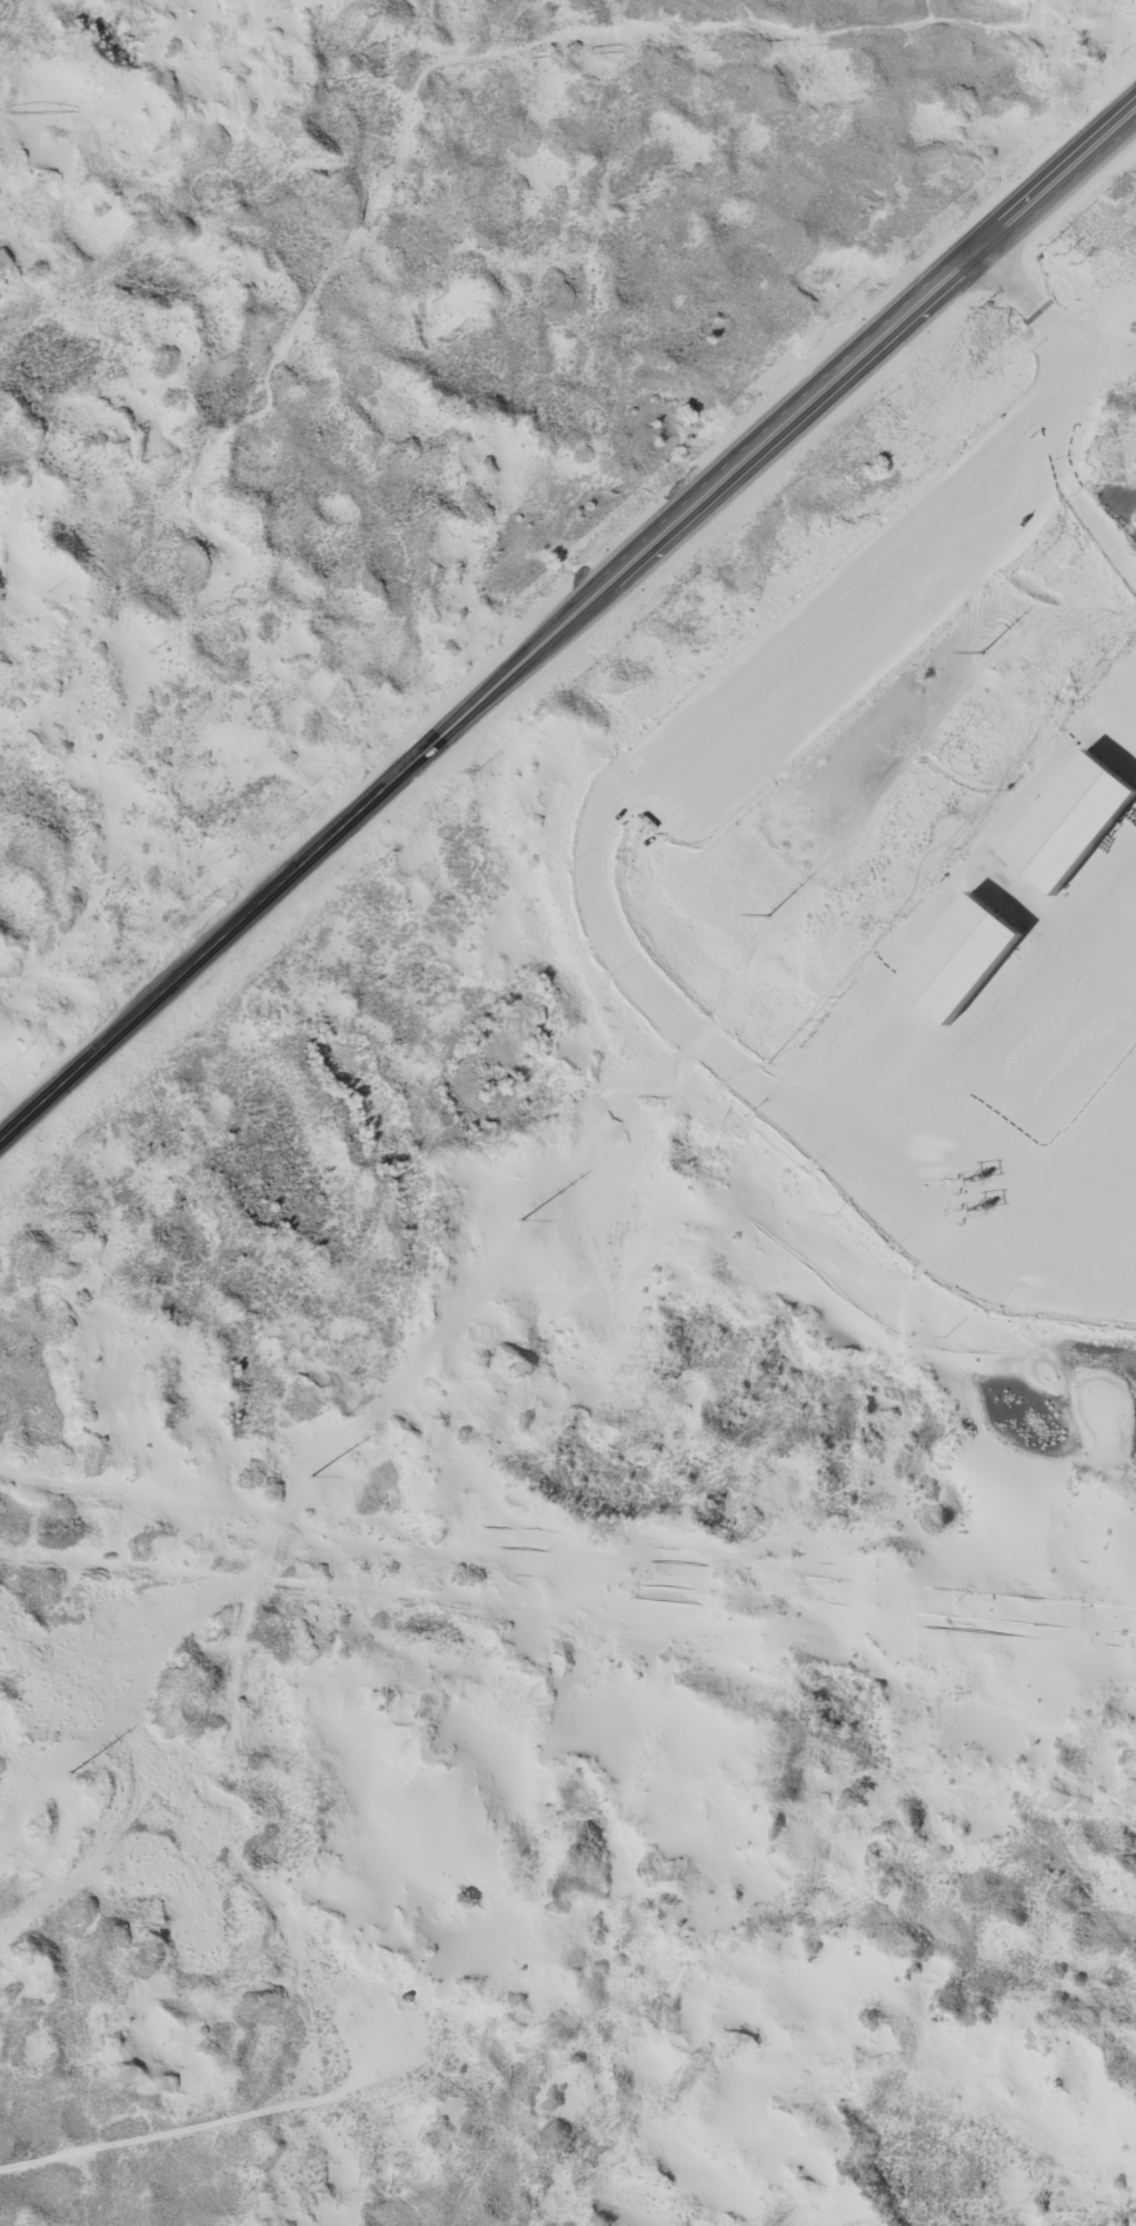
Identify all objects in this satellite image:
road: (568, 633)
power tower: (996, 668)
building: (1073, 818)
power tower: (783, 931)
building: (964, 954)
power tower: (531, 1235)
power tower: (321, 1490)
power tower: (84, 1788)

